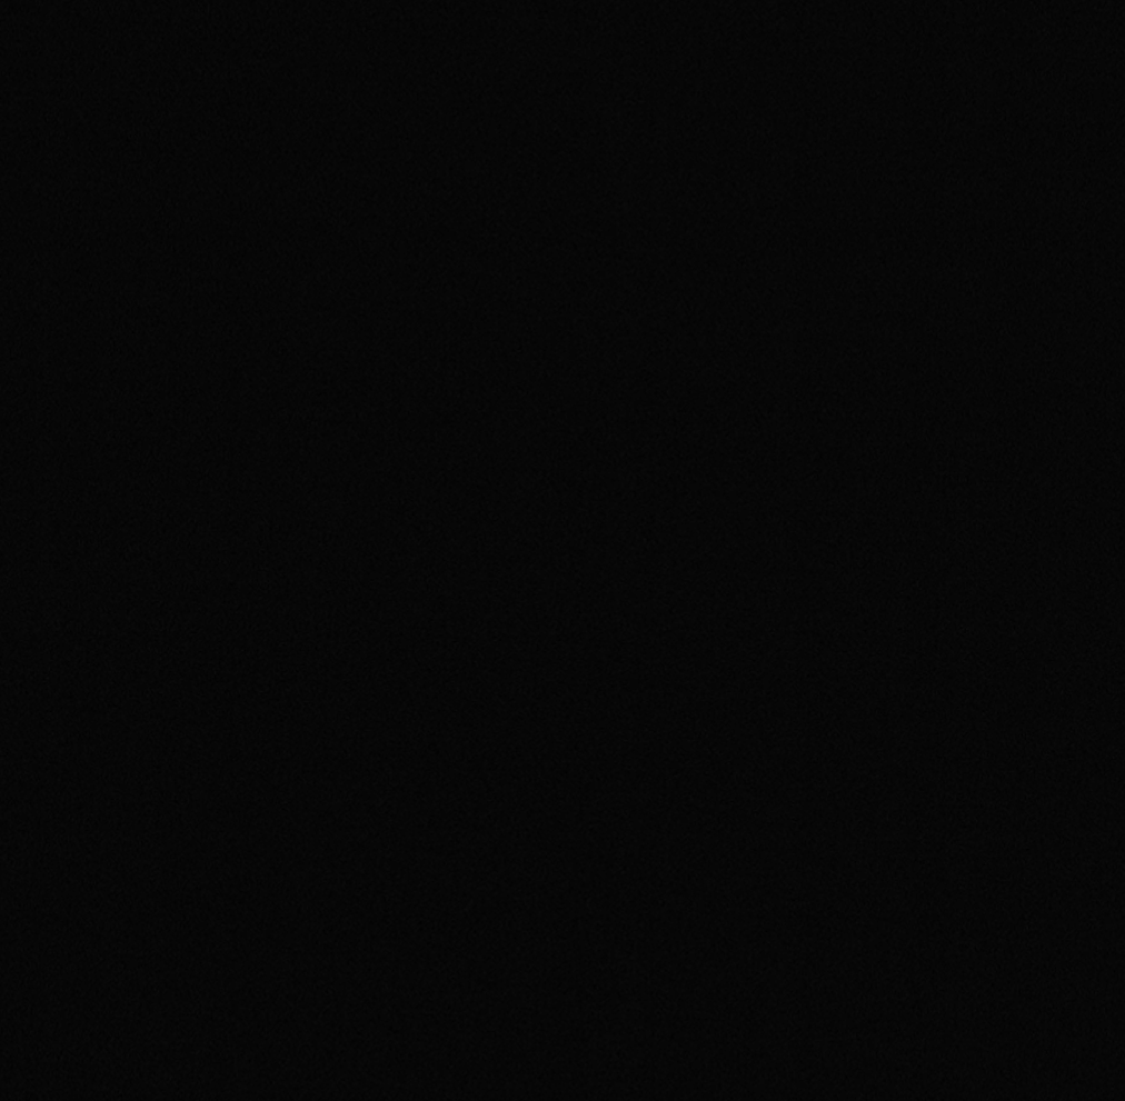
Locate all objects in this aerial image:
river: (728, 98)
river: (339, 380)

